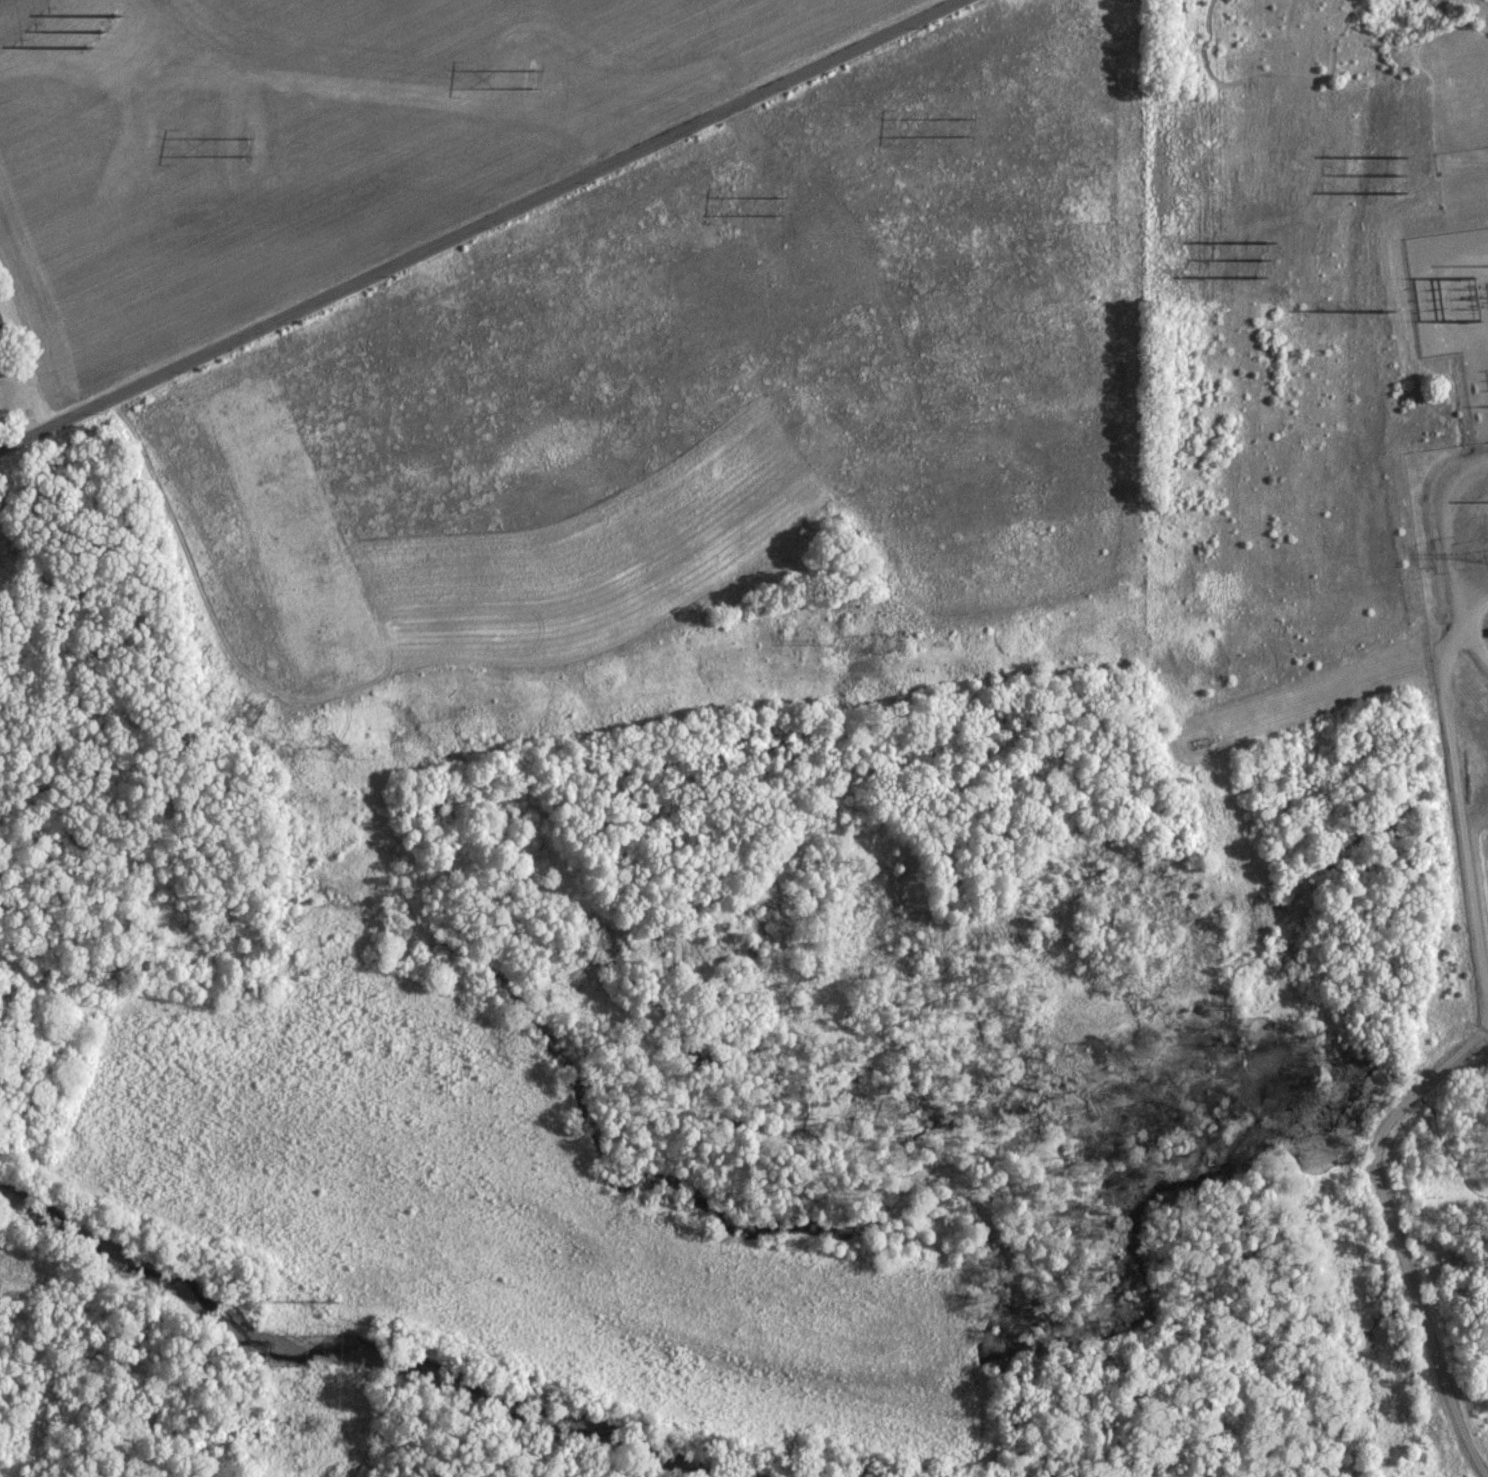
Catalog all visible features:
power tower: (92, 33)
power tower: (532, 81)
power tower: (965, 128)
power tower: (248, 143)
power tower: (1395, 174)
power tower: (779, 203)
road: (475, 223)
power tower: (1264, 262)
power tower: (1434, 305)
power substation: (1454, 306)
power tower: (1382, 311)
road: (1, 442)
power tower: (892, 642)
power tower: (243, 714)
power tower: (337, 751)
power tower: (325, 1304)

